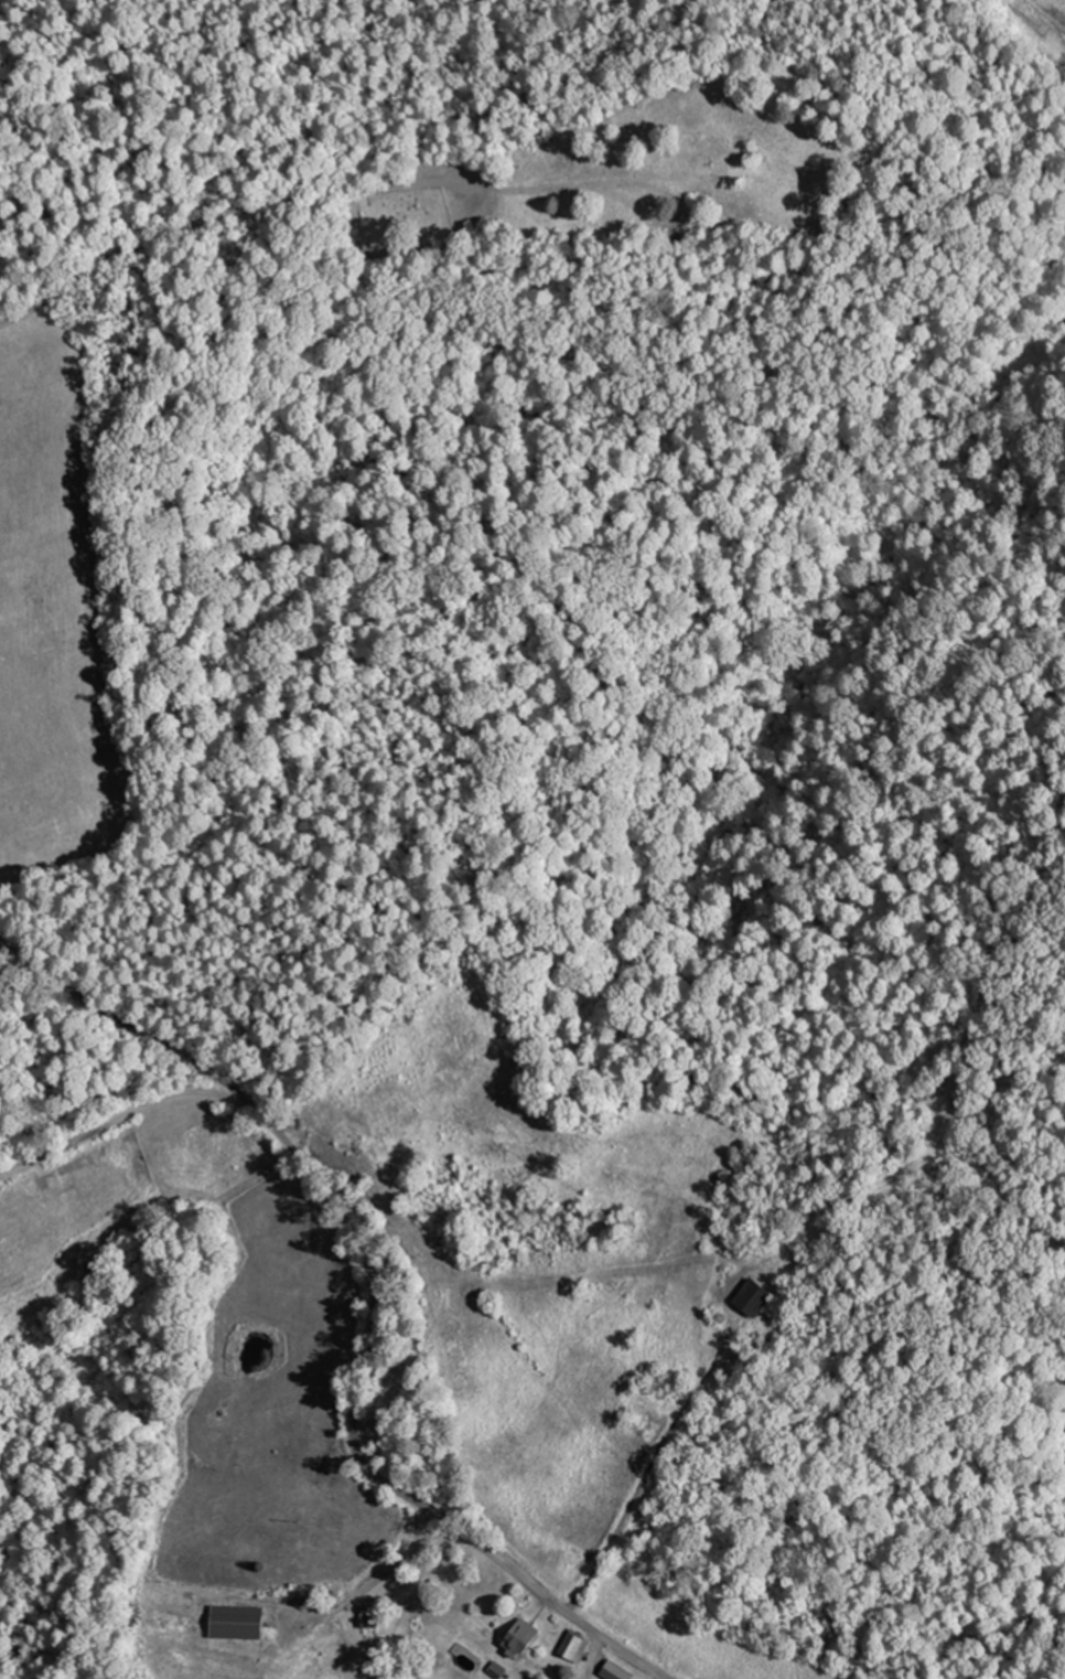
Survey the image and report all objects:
road: (216, 214)
road: (128, 1121)
building: (754, 1295)
road: (372, 1304)
building: (306, 1619)
building: (525, 1638)
building: (579, 1646)
building: (618, 1671)

